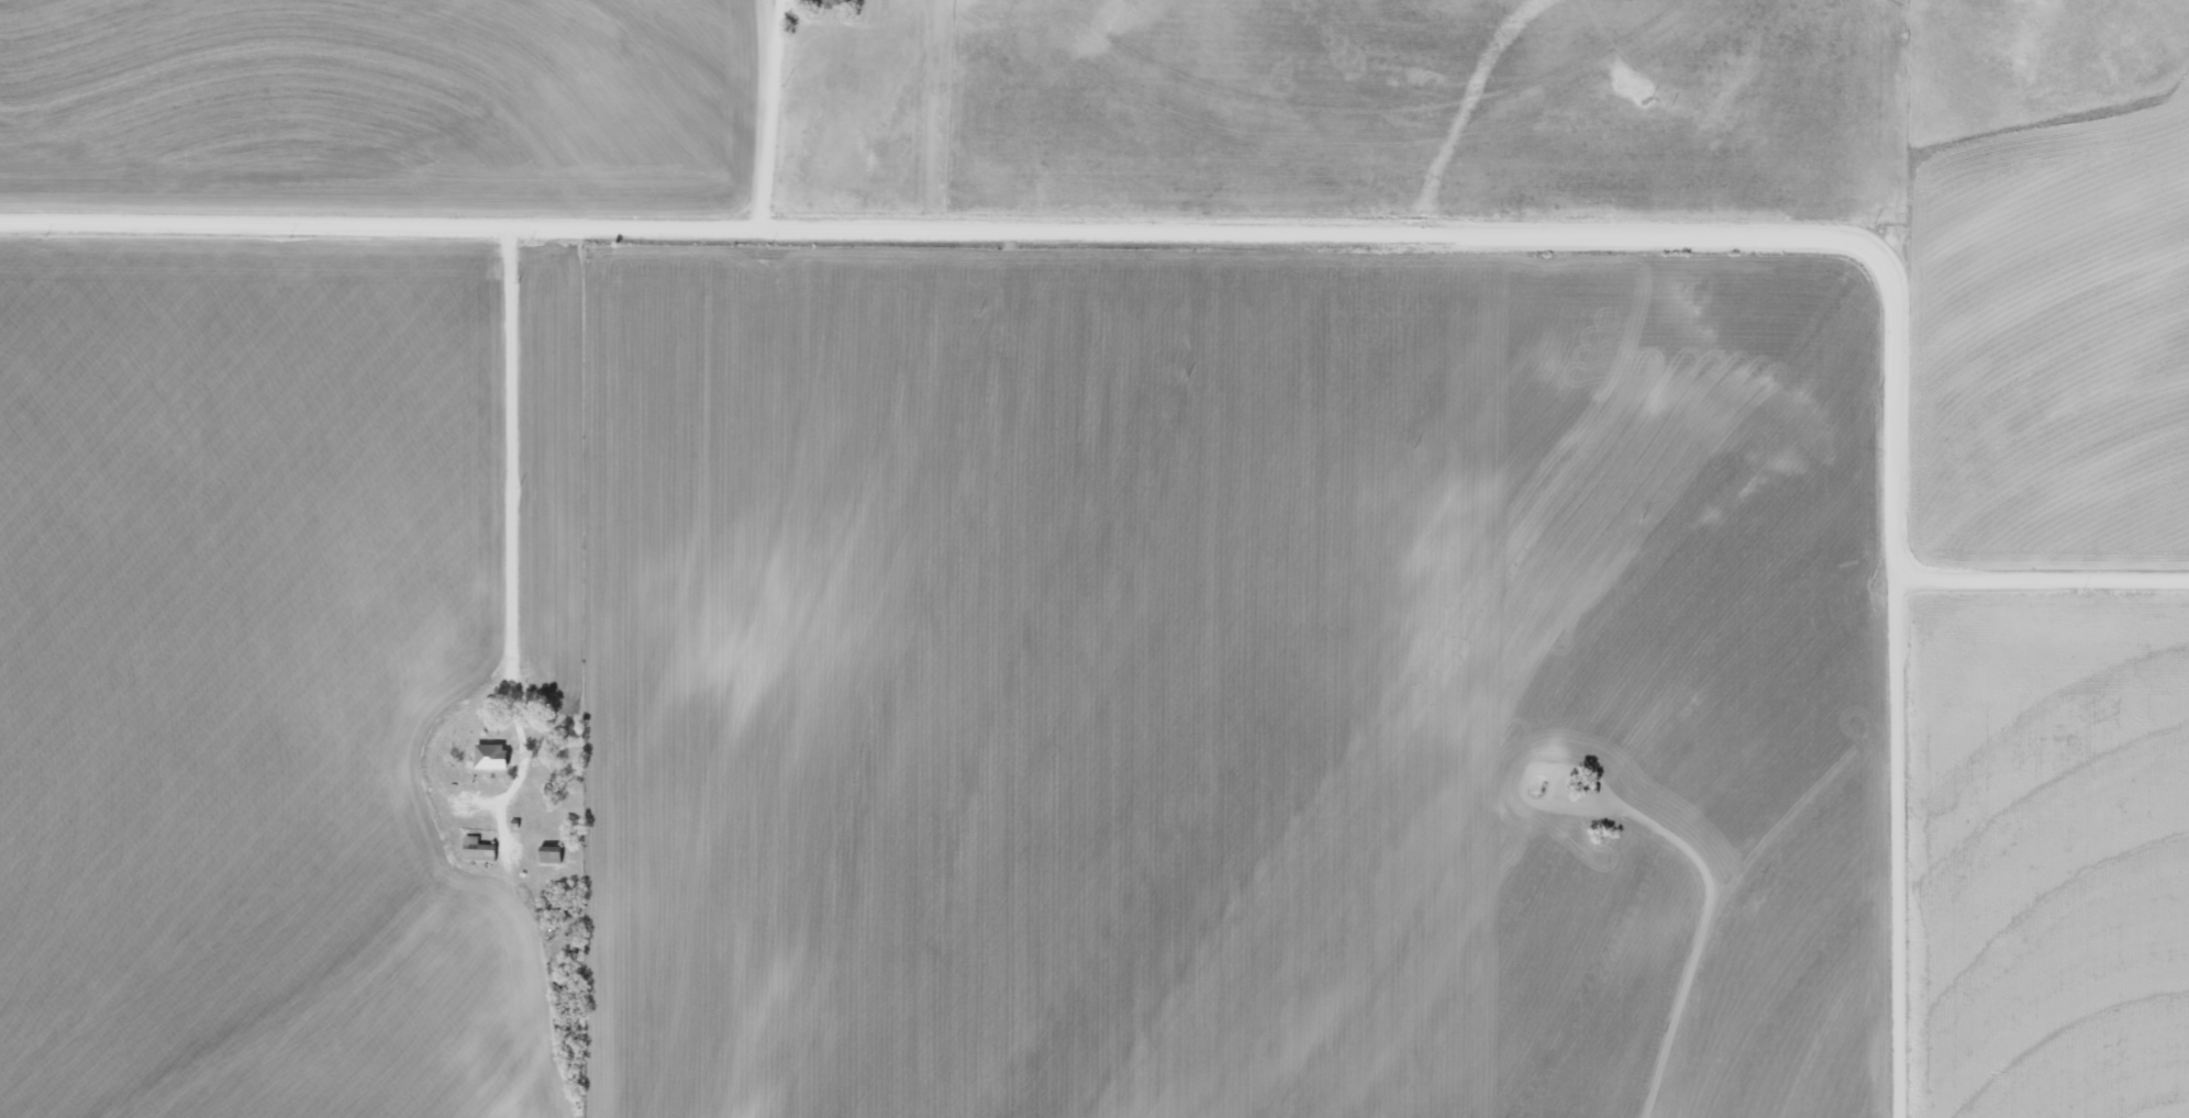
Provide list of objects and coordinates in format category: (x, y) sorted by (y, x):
building: (837, 1)
road: (1112, 224)
road: (527, 461)
road: (2054, 586)
road: (1921, 687)
building: (491, 756)
road: (1658, 815)
building: (479, 850)
building: (552, 854)
road: (1923, 953)
road: (1669, 969)

